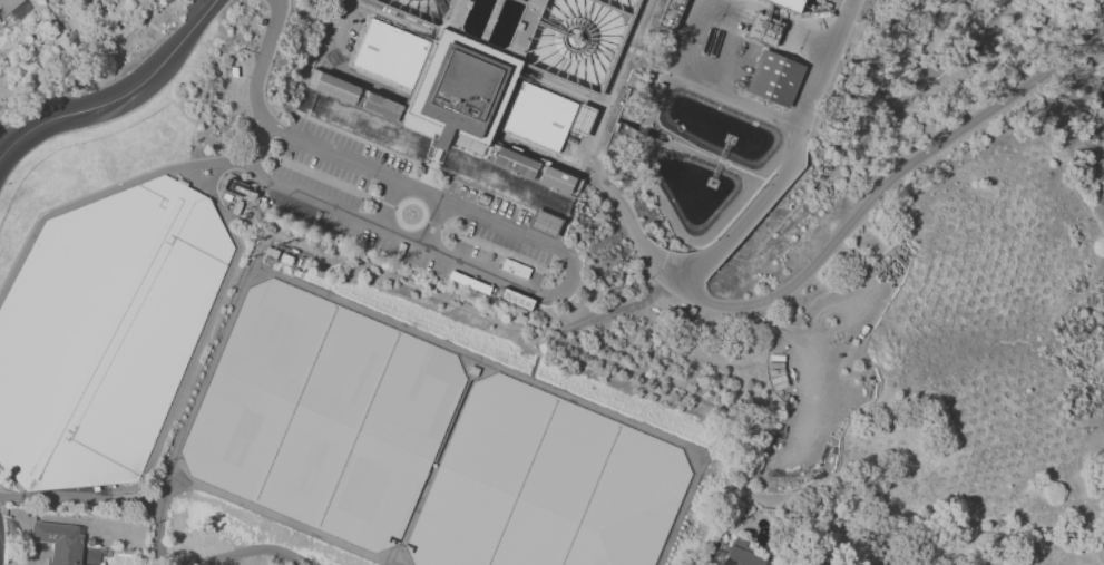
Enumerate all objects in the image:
building: (787, 4)
building: (8, 6)
building: (672, 13)
road: (685, 25)
road: (343, 29)
building: (762, 30)
building: (390, 53)
road: (263, 61)
road: (248, 66)
building: (233, 71)
building: (774, 78)
road: (615, 82)
building: (460, 90)
road: (120, 99)
building: (546, 116)
road: (790, 120)
building: (525, 181)
road: (421, 191)
road: (102, 192)
road: (748, 214)
building: (544, 223)
road: (834, 241)
road: (556, 293)
building: (62, 434)
road: (70, 496)
building: (59, 542)
building: (741, 555)

